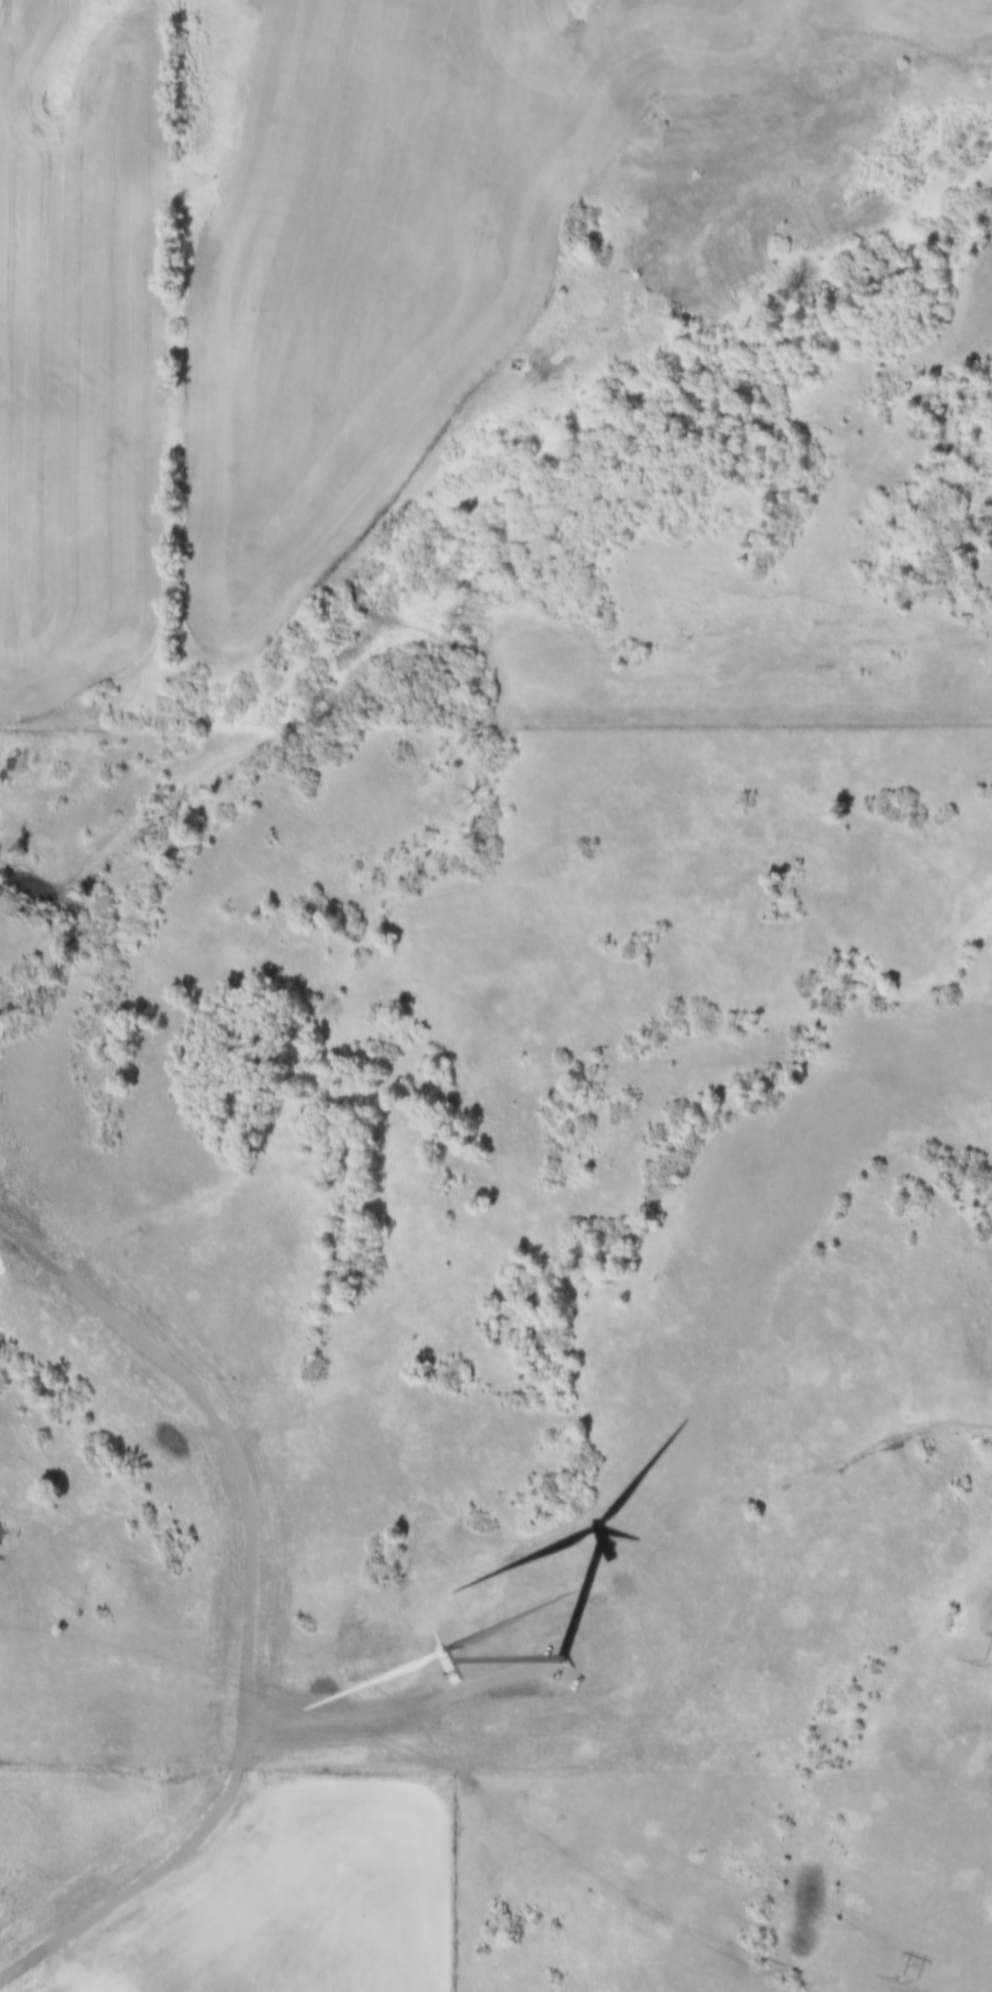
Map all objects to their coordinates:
wind turbine: (562, 1663)
power tower: (913, 1978)

